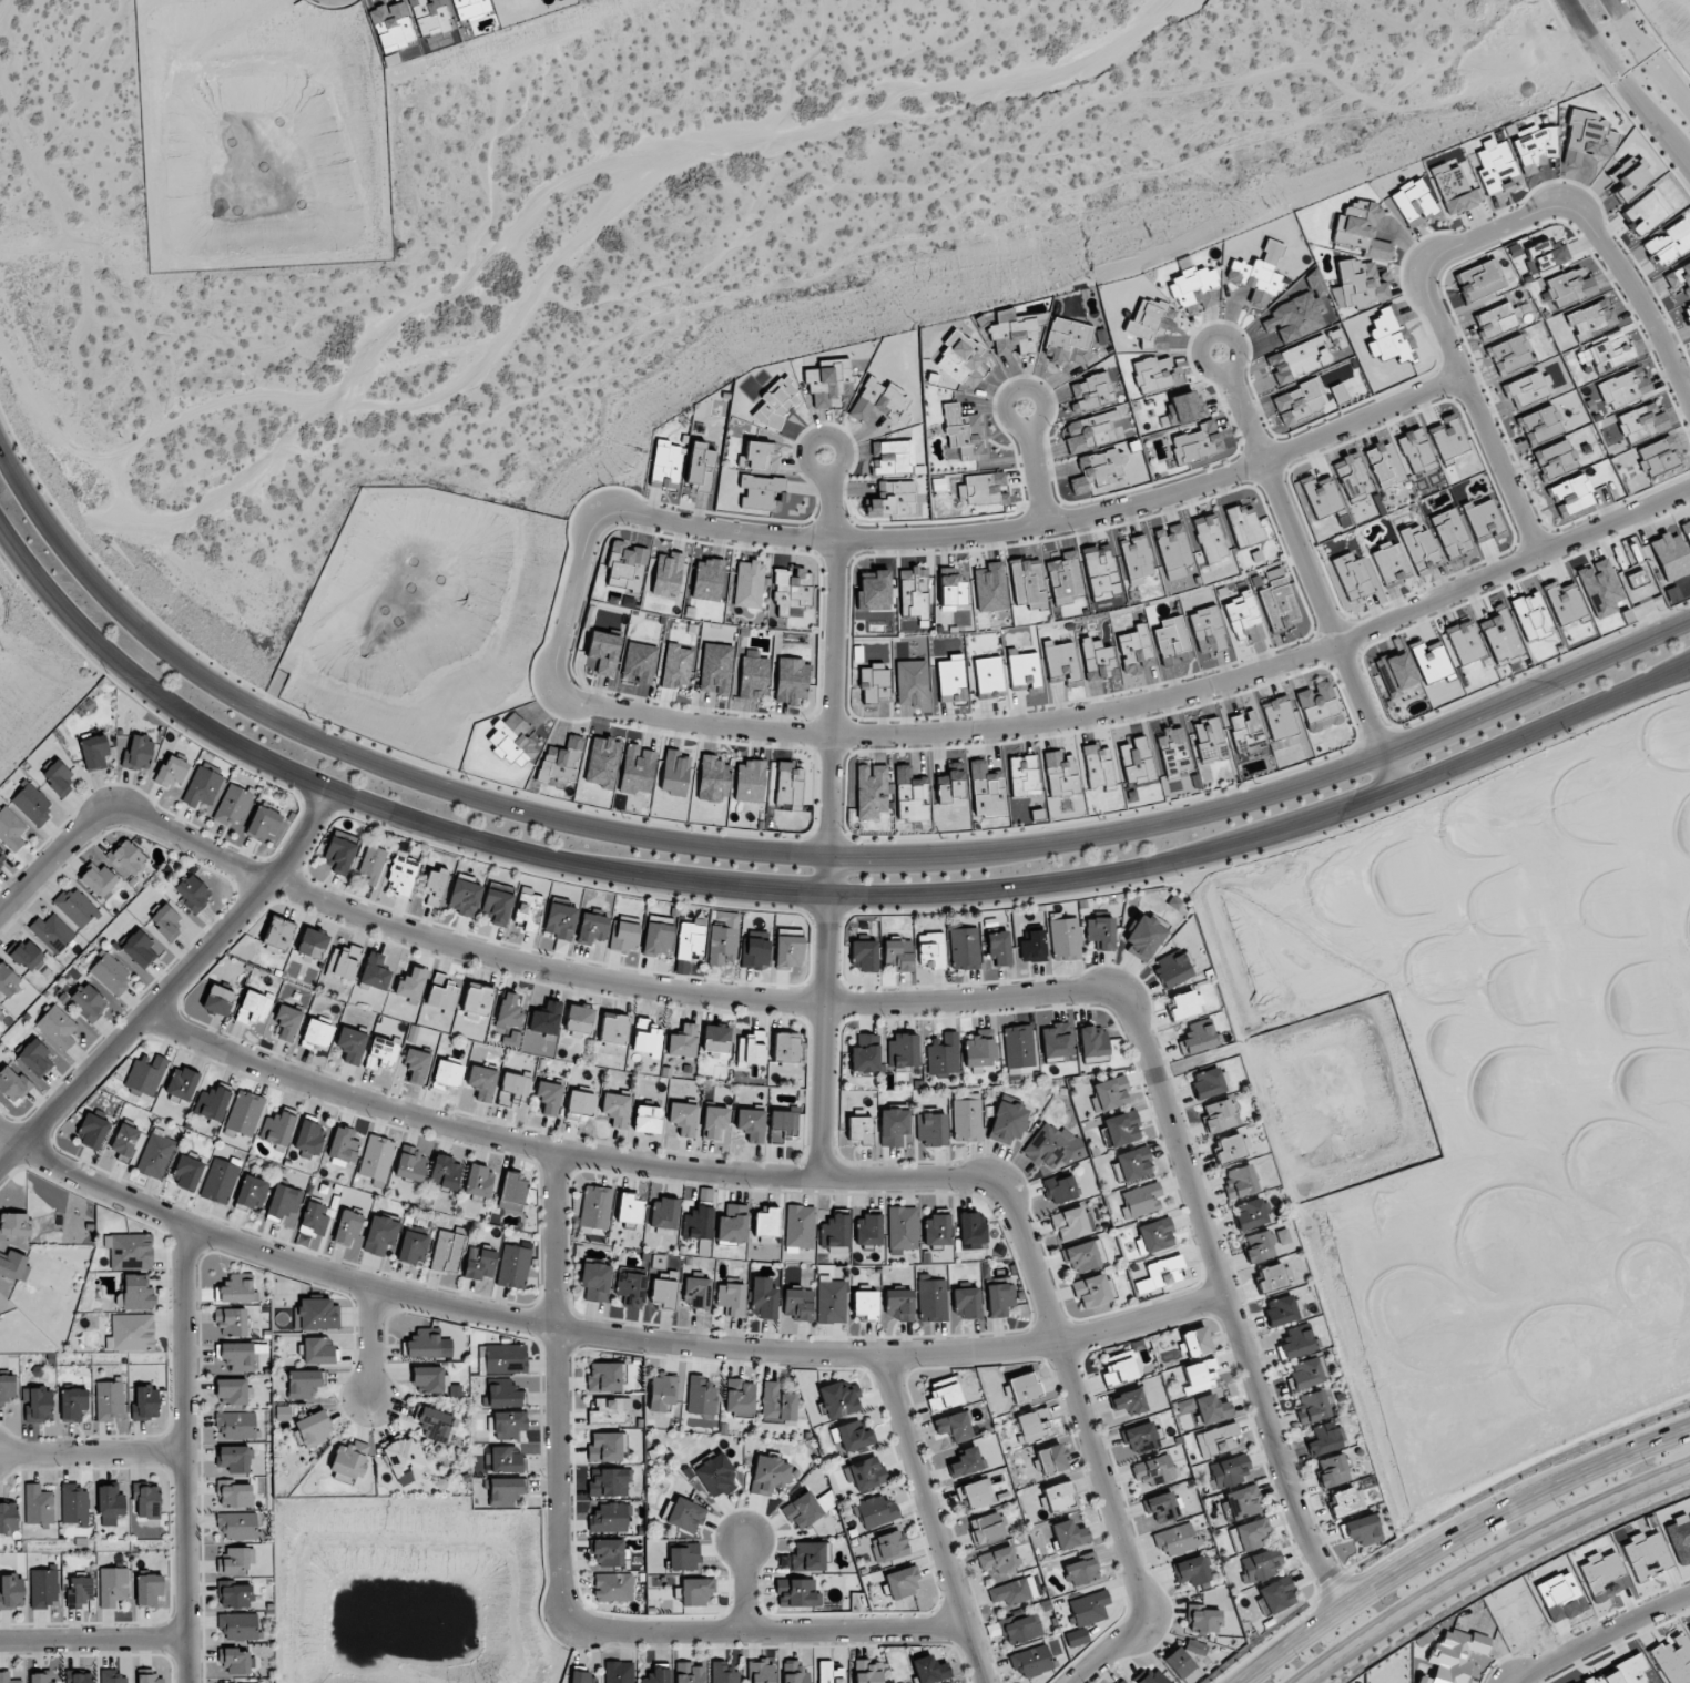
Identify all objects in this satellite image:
building: (470, 8)
building: (430, 16)
building: (391, 25)
road: (1643, 58)
road: (1619, 89)
building: (1586, 137)
building: (1533, 147)
building: (1493, 164)
building: (1627, 166)
building: (1630, 182)
building: (1453, 188)
building: (1413, 202)
building: (1647, 212)
building: (1361, 228)
road: (1484, 233)
building: (1669, 243)
building: (1546, 255)
building: (1679, 276)
building: (1254, 279)
building: (1479, 279)
building: (1360, 283)
building: (1569, 287)
building: (1194, 288)
road: (1639, 296)
building: (1299, 312)
building: (1687, 313)
building: (1589, 318)
building: (1498, 319)
building: (1151, 324)
building: (1015, 331)
building: (1387, 335)
building: (1067, 341)
building: (1510, 354)
building: (1610, 354)
building: (961, 359)
building: (1297, 359)
building: (1155, 375)
building: (828, 384)
building: (1623, 387)
building: (1527, 388)
building: (1091, 391)
building: (1299, 400)
building: (776, 401)
building: (879, 401)
building: (1184, 407)
road: (1477, 421)
building: (1640, 422)
building: (1540, 425)
building: (1090, 431)
building: (963, 432)
building: (1448, 438)
building: (1195, 442)
building: (1415, 450)
building: (1657, 456)
building: (757, 457)
building: (892, 457)
building: (1555, 458)
building: (665, 465)
building: (1383, 465)
road: (1032, 467)
building: (1097, 469)
building: (1352, 477)
building: (980, 487)
building: (762, 492)
building: (1570, 494)
building: (1320, 496)
building: (894, 500)
building: (1483, 520)
building: (1243, 526)
road: (1039, 528)
building: (1687, 531)
building: (1450, 533)
building: (1418, 547)
building: (1172, 550)
building: (1670, 557)
building: (1136, 559)
building: (1389, 563)
building: (624, 565)
road: (1307, 569)
building: (1100, 571)
building: (666, 574)
building: (1351, 575)
building: (1063, 577)
building: (707, 580)
building: (1027, 583)
building: (747, 584)
building: (990, 588)
building: (1599, 588)
building: (791, 590)
building: (874, 590)
building: (913, 591)
building: (950, 591)
road: (573, 602)
building: (1277, 603)
building: (1564, 603)
building: (1243, 618)
building: (1207, 630)
building: (1500, 637)
building: (1172, 641)
building: (1464, 642)
building: (1134, 649)
building: (602, 651)
building: (1097, 660)
building: (1429, 660)
building: (1060, 661)
building: (639, 662)
building: (676, 666)
building: (715, 669)
building: (1022, 670)
building: (754, 673)
building: (1395, 673)
road: (833, 674)
building: (988, 676)
building: (951, 679)
building: (791, 680)
building: (873, 682)
building: (912, 682)
road: (1139, 705)
building: (1319, 706)
building: (1279, 717)
building: (1245, 732)
building: (1209, 739)
building: (511, 741)
building: (1172, 751)
building: (93, 752)
building: (138, 753)
building: (1134, 759)
building: (560, 761)
building: (602, 762)
building: (1098, 766)
building: (637, 769)
building: (171, 773)
building: (674, 773)
building: (1060, 774)
building: (1022, 775)
building: (59, 777)
building: (712, 779)
building: (749, 781)
building: (788, 785)
building: (950, 785)
building: (202, 786)
building: (986, 789)
building: (871, 790)
building: (910, 794)
building: (32, 804)
building: (232, 806)
road: (121, 814)
building: (263, 823)
building: (10, 829)
building: (339, 851)
road: (796, 853)
building: (2, 857)
building: (126, 857)
building: (371, 864)
building: (401, 873)
building: (99, 880)
building: (434, 886)
road: (808, 891)
building: (193, 892)
building: (465, 895)
building: (497, 902)
building: (75, 907)
building: (529, 909)
building: (561, 919)
building: (166, 920)
building: (591, 928)
building: (1101, 931)
building: (52, 932)
building: (624, 936)
building: (1144, 937)
building: (690, 938)
building: (656, 939)
building: (723, 939)
building: (1065, 939)
building: (313, 942)
building: (1032, 946)
building: (998, 947)
building: (964, 948)
building: (139, 949)
building: (930, 950)
building: (788, 951)
building: (754, 952)
building: (27, 953)
building: (864, 955)
building: (897, 955)
building: (343, 962)
building: (1173, 969)
building: (375, 971)
building: (110, 973)
building: (7, 981)
road: (171, 981)
building: (410, 983)
road: (688, 989)
building: (441, 993)
building: (217, 1000)
building: (88, 1001)
building: (477, 1001)
building: (1185, 1004)
building: (254, 1007)
building: (508, 1010)
building: (0, 1012)
building: (546, 1018)
building: (579, 1018)
building: (287, 1020)
building: (57, 1027)
building: (612, 1029)
building: (411, 1033)
road: (823, 1033)
building: (316, 1034)
building: (1198, 1037)
building: (647, 1038)
building: (715, 1040)
building: (1092, 1040)
building: (683, 1041)
building: (350, 1042)
building: (1056, 1042)
building: (1018, 1048)
building: (751, 1049)
building: (785, 1049)
building: (980, 1049)
building: (903, 1051)
building: (381, 1052)
building: (865, 1053)
building: (943, 1053)
building: (34, 1058)
building: (416, 1064)
building: (145, 1074)
building: (446, 1074)
building: (482, 1081)
building: (1209, 1082)
building: (11, 1083)
building: (182, 1083)
building: (513, 1088)
building: (1109, 1093)
building: (548, 1096)
building: (213, 1101)
building: (580, 1103)
building: (615, 1106)
building: (243, 1114)
building: (1220, 1114)
building: (966, 1116)
building: (647, 1119)
building: (683, 1119)
building: (1008, 1121)
building: (751, 1124)
building: (783, 1125)
building: (893, 1126)
building: (277, 1128)
building: (931, 1129)
building: (92, 1130)
building: (859, 1130)
building: (309, 1138)
building: (124, 1141)
building: (1050, 1145)
building: (342, 1146)
building: (1231, 1147)
road: (561, 1150)
building: (156, 1155)
building: (377, 1157)
building: (1131, 1163)
building: (411, 1164)
building: (186, 1172)
building: (445, 1172)
building: (218, 1181)
building: (479, 1181)
building: (1240, 1181)
building: (252, 1192)
building: (511, 1193)
building: (1140, 1201)
building: (283, 1202)
building: (594, 1208)
building: (630, 1208)
building: (663, 1213)
building: (1250, 1214)
building: (315, 1217)
building: (698, 1222)
building: (1071, 1223)
building: (732, 1224)
building: (13, 1225)
building: (766, 1225)
building: (798, 1226)
building: (902, 1227)
building: (347, 1228)
building: (867, 1230)
building: (936, 1230)
building: (973, 1230)
building: (834, 1231)
building: (380, 1234)
building: (1155, 1235)
building: (1258, 1246)
building: (413, 1247)
building: (129, 1251)
building: (446, 1252)
building: (1083, 1256)
building: (479, 1263)
building: (513, 1265)
building: (14, 1266)
building: (1162, 1272)
building: (1272, 1277)
building: (595, 1281)
building: (235, 1288)
building: (630, 1288)
building: (663, 1289)
building: (1093, 1291)
building: (696, 1292)
building: (138, 1293)
building: (731, 1298)
building: (763, 1298)
building: (931, 1299)
building: (999, 1299)
road: (1222, 1299)
building: (831, 1300)
building: (865, 1302)
building: (966, 1303)
building: (797, 1304)
building: (898, 1304)
building: (1281, 1312)
building: (316, 1315)
building: (231, 1322)
building: (131, 1332)
road: (594, 1333)
building: (1194, 1342)
road: (370, 1344)
building: (426, 1344)
building: (1296, 1344)
building: (317, 1350)
building: (505, 1358)
building: (1118, 1368)
building: (1306, 1373)
building: (1199, 1375)
building: (603, 1377)
building: (303, 1383)
road: (558, 1387)
building: (6, 1388)
building: (1021, 1388)
building: (232, 1390)
building: (661, 1393)
building: (943, 1394)
building: (505, 1395)
building: (700, 1396)
building: (739, 1396)
building: (837, 1399)
building: (109, 1400)
building: (1128, 1401)
building: (72, 1402)
building: (145, 1402)
building: (776, 1402)
building: (37, 1404)
building: (1312, 1407)
building: (1210, 1408)
building: (609, 1410)
building: (435, 1424)
building: (235, 1425)
building: (508, 1425)
building: (1031, 1425)
building: (953, 1426)
building: (314, 1428)
building: (853, 1436)
building: (1141, 1437)
building: (1325, 1438)
road: (1092, 1440)
building: (1215, 1440)
building: (604, 1447)
road: (91, 1453)
road: (183, 1456)
building: (234, 1459)
building: (349, 1459)
building: (404, 1459)
building: (503, 1459)
building: (1049, 1459)
building: (964, 1462)
building: (1154, 1470)
building: (1229, 1470)
building: (1332, 1470)
building: (768, 1473)
building: (863, 1473)
building: (714, 1475)
building: (610, 1482)
building: (506, 1490)
building: (234, 1495)
building: (974, 1495)
building: (1056, 1496)
building: (146, 1501)
building: (1345, 1501)
building: (110, 1502)
building: (1240, 1502)
building: (74, 1503)
building: (38, 1504)
building: (1162, 1507)
building: (806, 1509)
building: (875, 1511)
building: (685, 1514)
building: (8, 1518)
building: (609, 1518)
road: (933, 1519)
building: (236, 1524)
building: (988, 1527)
building: (1364, 1530)
road: (1448, 1530)
building: (1068, 1533)
building: (1250, 1534)
building: (1174, 1539)
building: (888, 1546)
building: (608, 1552)
building: (683, 1555)
building: (810, 1555)
building: (1646, 1555)
building: (235, 1560)
building: (997, 1560)
road: (1490, 1563)
building: (1259, 1565)
building: (1080, 1569)
building: (1192, 1570)
road: (744, 1582)
building: (902, 1582)
building: (113, 1585)
building: (612, 1587)
building: (42, 1588)
building: (149, 1589)
building: (11, 1591)
building: (79, 1591)
building: (696, 1591)
building: (1014, 1591)
building: (796, 1593)
building: (235, 1594)
building: (1275, 1594)
building: (1088, 1608)
building: (1204, 1620)
building: (238, 1625)
road: (768, 1628)
building: (1022, 1629)
building: (1076, 1638)
road: (1604, 1639)
road: (92, 1642)
building: (1195, 1646)
building: (1454, 1655)
building: (235, 1660)
building: (1031, 1661)
building: (1178, 1663)
building: (928, 1670)
building: (760, 1671)
building: (867, 1671)
building: (1622, 1671)
building: (619, 1672)
building: (689, 1673)
building: (723, 1673)
building: (794, 1673)
building: (828, 1673)
building: (656, 1675)
building: (40, 1676)
building: (111, 1676)
building: (581, 1676)
building: (1152, 1676)
building: (8, 1677)
building: (80, 1677)
building: (151, 1679)
building: (1422, 1680)
building: (1122, 1682)

